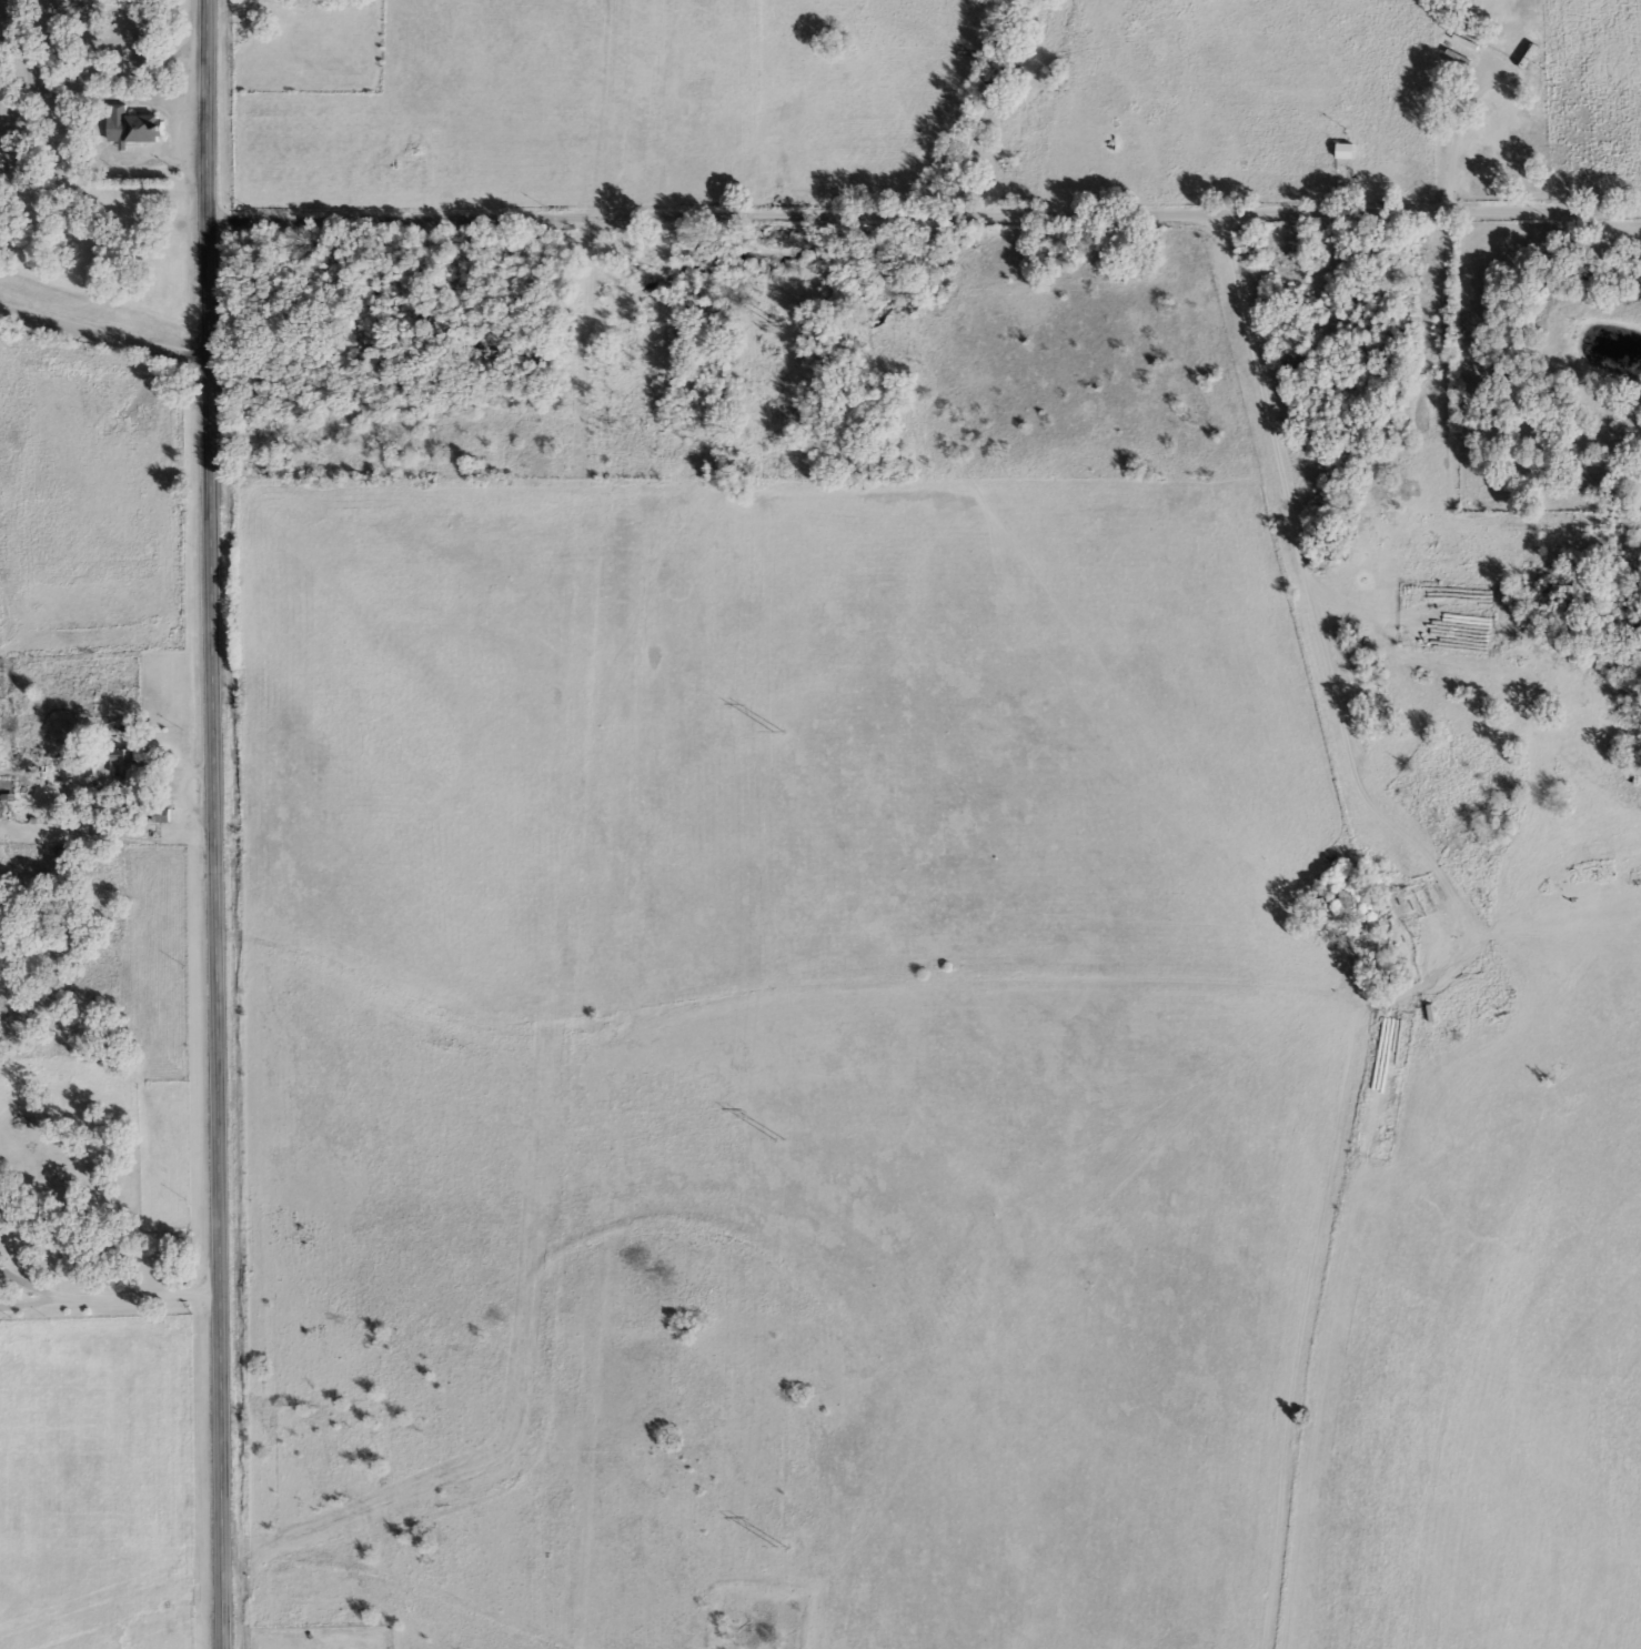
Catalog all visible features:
building: (130, 123)
building: (1341, 149)
road: (922, 229)
road: (101, 336)
road: (1299, 546)
building: (123, 761)
road: (218, 824)
road: (109, 1296)

